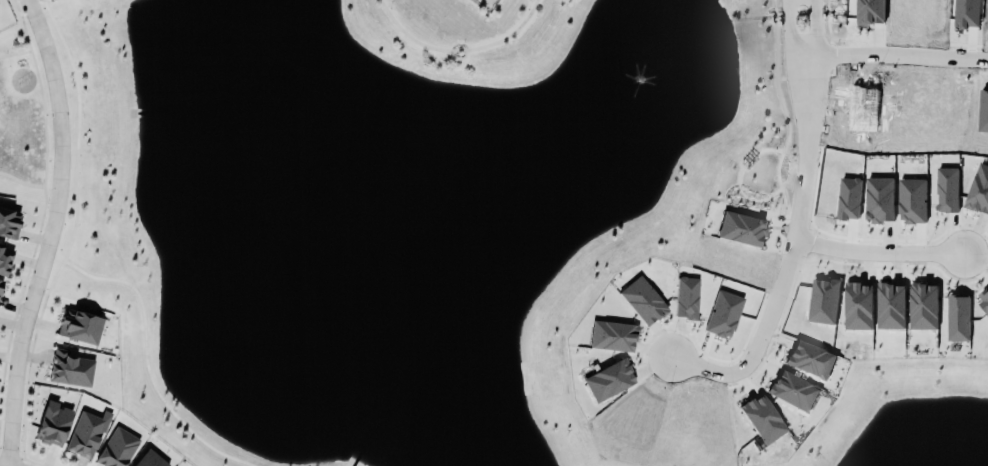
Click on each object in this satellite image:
road: (816, 29)
road: (792, 31)
park: (471, 37)
road: (459, 49)
road: (16, 53)
road: (891, 55)
road: (460, 56)
road: (15, 61)
fountain: (640, 80)
road: (21, 181)
building: (948, 188)
building: (979, 189)
building: (850, 197)
building: (880, 198)
building: (912, 199)
road: (44, 210)
building: (9, 222)
road: (787, 227)
building: (742, 228)
road: (52, 232)
road: (876, 253)
building: (5, 259)
building: (1, 283)
building: (687, 297)
building: (984, 299)
building: (643, 300)
building: (824, 300)
building: (859, 305)
building: (891, 305)
building: (924, 305)
building: (724, 313)
building: (959, 317)
building: (80, 326)
building: (613, 335)
building: (811, 358)
building: (70, 368)
road: (697, 368)
building: (609, 379)
building: (794, 390)
building: (763, 418)
building: (53, 423)
building: (87, 433)
building: (117, 448)
road: (5, 455)
building: (150, 459)

